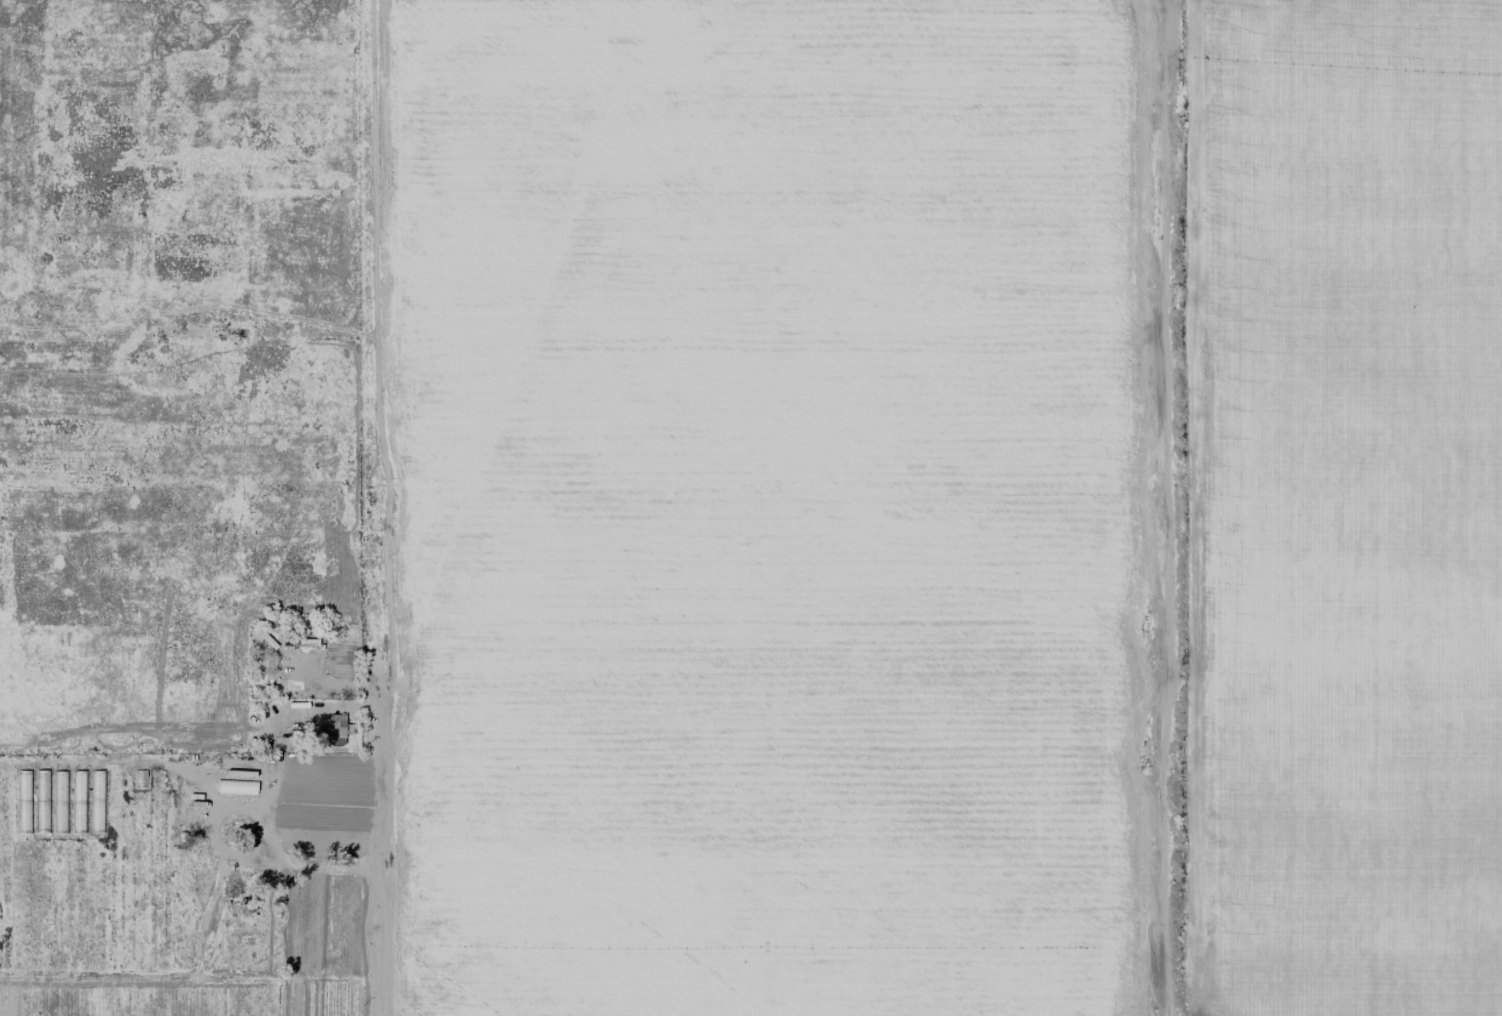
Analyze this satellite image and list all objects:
road: (397, 508)
road: (1162, 508)
building: (334, 729)
road: (235, 861)

